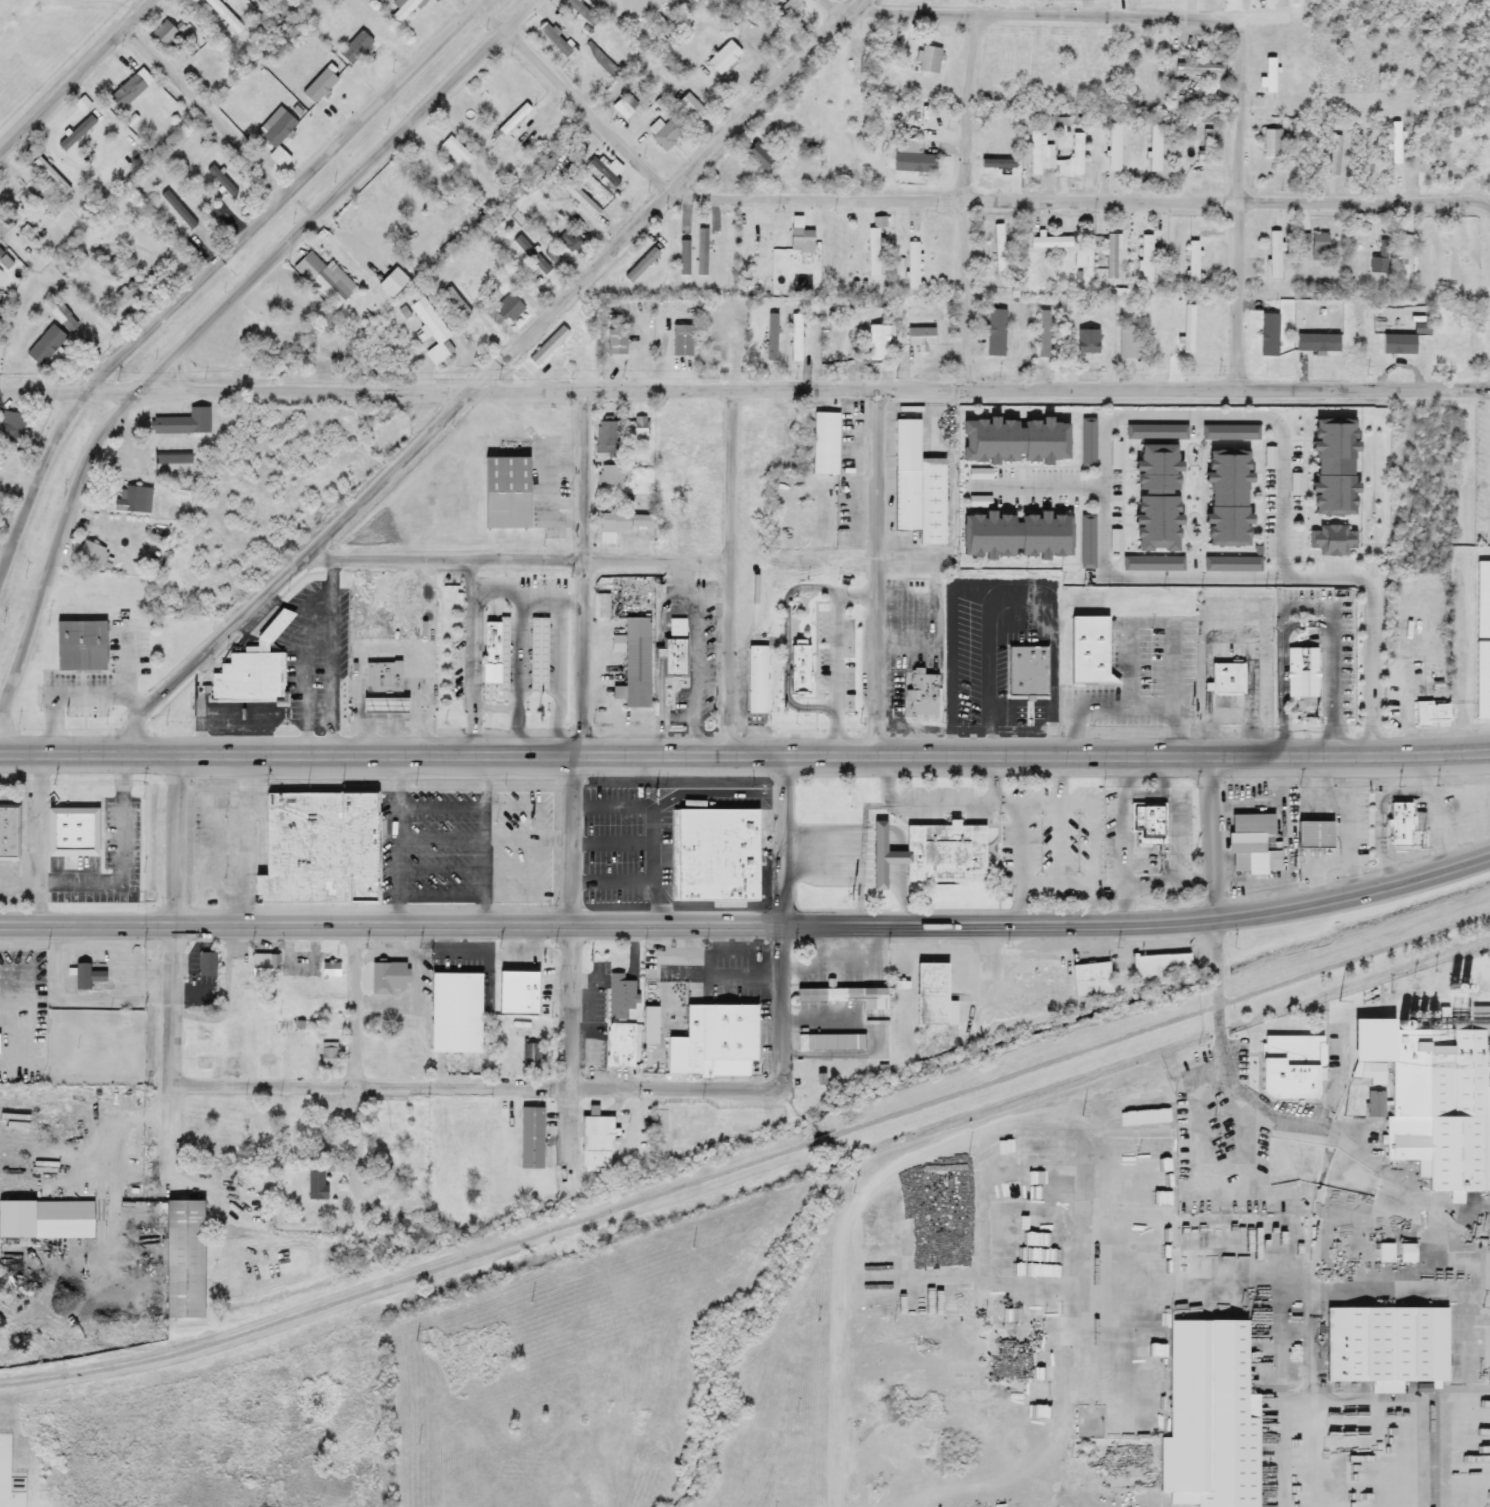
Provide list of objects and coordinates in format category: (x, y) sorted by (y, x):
road: (69, 0)
building: (289, 5)
road: (842, 5)
building: (402, 9)
building: (575, 9)
building: (790, 9)
road: (1039, 14)
building: (224, 15)
building: (166, 33)
building: (554, 39)
building: (354, 48)
building: (722, 57)
building: (928, 59)
building: (1200, 68)
road: (76, 77)
building: (318, 87)
building: (129, 89)
building: (851, 91)
road: (571, 96)
building: (685, 102)
building: (621, 108)
road: (206, 111)
building: (698, 118)
building: (661, 132)
building: (76, 133)
building: (1201, 135)
building: (1271, 143)
building: (1113, 147)
building: (1155, 148)
building: (1038, 153)
building: (1333, 155)
building: (1204, 156)
building: (910, 157)
building: (759, 158)
building: (1071, 160)
building: (602, 172)
building: (50, 176)
building: (226, 188)
building: (396, 190)
building: (12, 191)
road: (966, 198)
building: (579, 199)
road: (1080, 200)
road: (1237, 203)
building: (5, 223)
building: (798, 236)
building: (567, 242)
building: (1049, 243)
building: (1311, 243)
building: (998, 248)
building: (872, 252)
building: (1400, 253)
building: (1274, 255)
building: (1111, 257)
building: (1145, 259)
building: (1379, 260)
building: (1080, 261)
building: (1193, 262)
road: (212, 266)
building: (912, 266)
building: (332, 284)
building: (505, 310)
building: (64, 319)
road: (208, 323)
building: (1188, 330)
building: (430, 331)
building: (995, 333)
building: (1042, 335)
building: (920, 337)
building: (680, 341)
building: (1086, 341)
building: (615, 342)
building: (1128, 342)
building: (1454, 342)
building: (51, 345)
building: (547, 347)
building: (0, 361)
road: (488, 374)
road: (745, 388)
road: (1191, 416)
building: (187, 418)
building: (14, 423)
building: (636, 431)
building: (1155, 433)
building: (1229, 433)
building: (605, 436)
building: (1011, 442)
building: (1087, 443)
building: (823, 444)
building: (667, 451)
building: (176, 461)
building: (1329, 467)
building: (612, 476)
building: (675, 482)
road: (1035, 488)
building: (512, 492)
building: (136, 496)
building: (1153, 498)
building: (1224, 498)
building: (920, 501)
building: (700, 508)
building: (0, 514)
building: (669, 517)
building: (622, 522)
building: (1085, 527)
building: (1013, 536)
building: (1328, 541)
building: (98, 549)
road: (591, 562)
road: (878, 567)
road: (730, 569)
road: (585, 570)
road: (1230, 575)
road: (502, 585)
road: (555, 595)
building: (1482, 600)
road: (299, 605)
road: (1310, 617)
road: (698, 632)
road: (790, 641)
building: (86, 642)
building: (679, 646)
building: (1094, 649)
building: (501, 651)
building: (542, 651)
road: (838, 651)
road: (336, 655)
road: (1372, 659)
building: (634, 662)
building: (805, 667)
building: (1030, 667)
building: (251, 670)
building: (1305, 670)
parking lot: (101, 671)
road: (558, 672)
building: (387, 673)
road: (311, 674)
building: (1231, 675)
building: (761, 677)
building: (1481, 680)
road: (119, 687)
building: (926, 693)
road: (136, 696)
road: (663, 703)
building: (390, 704)
gas station: (390, 704)
building: (1430, 713)
road: (55, 719)
road: (744, 751)
road: (615, 801)
road: (720, 801)
road: (1335, 803)
road: (1430, 811)
road: (1381, 815)
building: (721, 818)
building: (1151, 819)
building: (1398, 823)
building: (76, 828)
building: (13, 829)
building: (1319, 833)
road: (399, 834)
road: (487, 834)
road: (43, 835)
road: (177, 835)
road: (529, 839)
building: (721, 842)
building: (1257, 842)
road: (544, 843)
building: (325, 847)
building: (935, 852)
road: (1410, 855)
building: (677, 856)
road: (659, 860)
road: (1334, 861)
road: (123, 874)
building: (722, 878)
road: (782, 900)
road: (285, 919)
road: (1034, 922)
road: (570, 959)
building: (205, 964)
building: (264, 965)
building: (1160, 969)
building: (237, 971)
building: (85, 976)
building: (387, 977)
building: (1089, 979)
building: (522, 981)
building: (931, 995)
building: (619, 996)
building: (843, 996)
building: (454, 1013)
building: (648, 1019)
road: (1163, 1020)
road: (171, 1028)
building: (202, 1033)
building: (523, 1039)
building: (714, 1041)
building: (829, 1042)
building: (619, 1045)
building: (328, 1055)
building: (265, 1058)
building: (297, 1059)
building: (231, 1060)
building: (202, 1062)
building: (1288, 1066)
road: (488, 1085)
building: (1439, 1106)
road: (1031, 1113)
building: (261, 1115)
building: (750, 1117)
building: (298, 1119)
building: (1147, 1133)
building: (659, 1135)
road: (824, 1136)
building: (530, 1138)
building: (594, 1140)
building: (385, 1143)
building: (1043, 1146)
building: (416, 1156)
road: (353, 1158)
building: (315, 1183)
road: (1096, 1193)
road: (988, 1205)
building: (45, 1220)
building: (1406, 1232)
building: (182, 1259)
road: (410, 1282)
road: (1265, 1286)
road: (1482, 1336)
building: (1384, 1346)
building: (1208, 1414)

